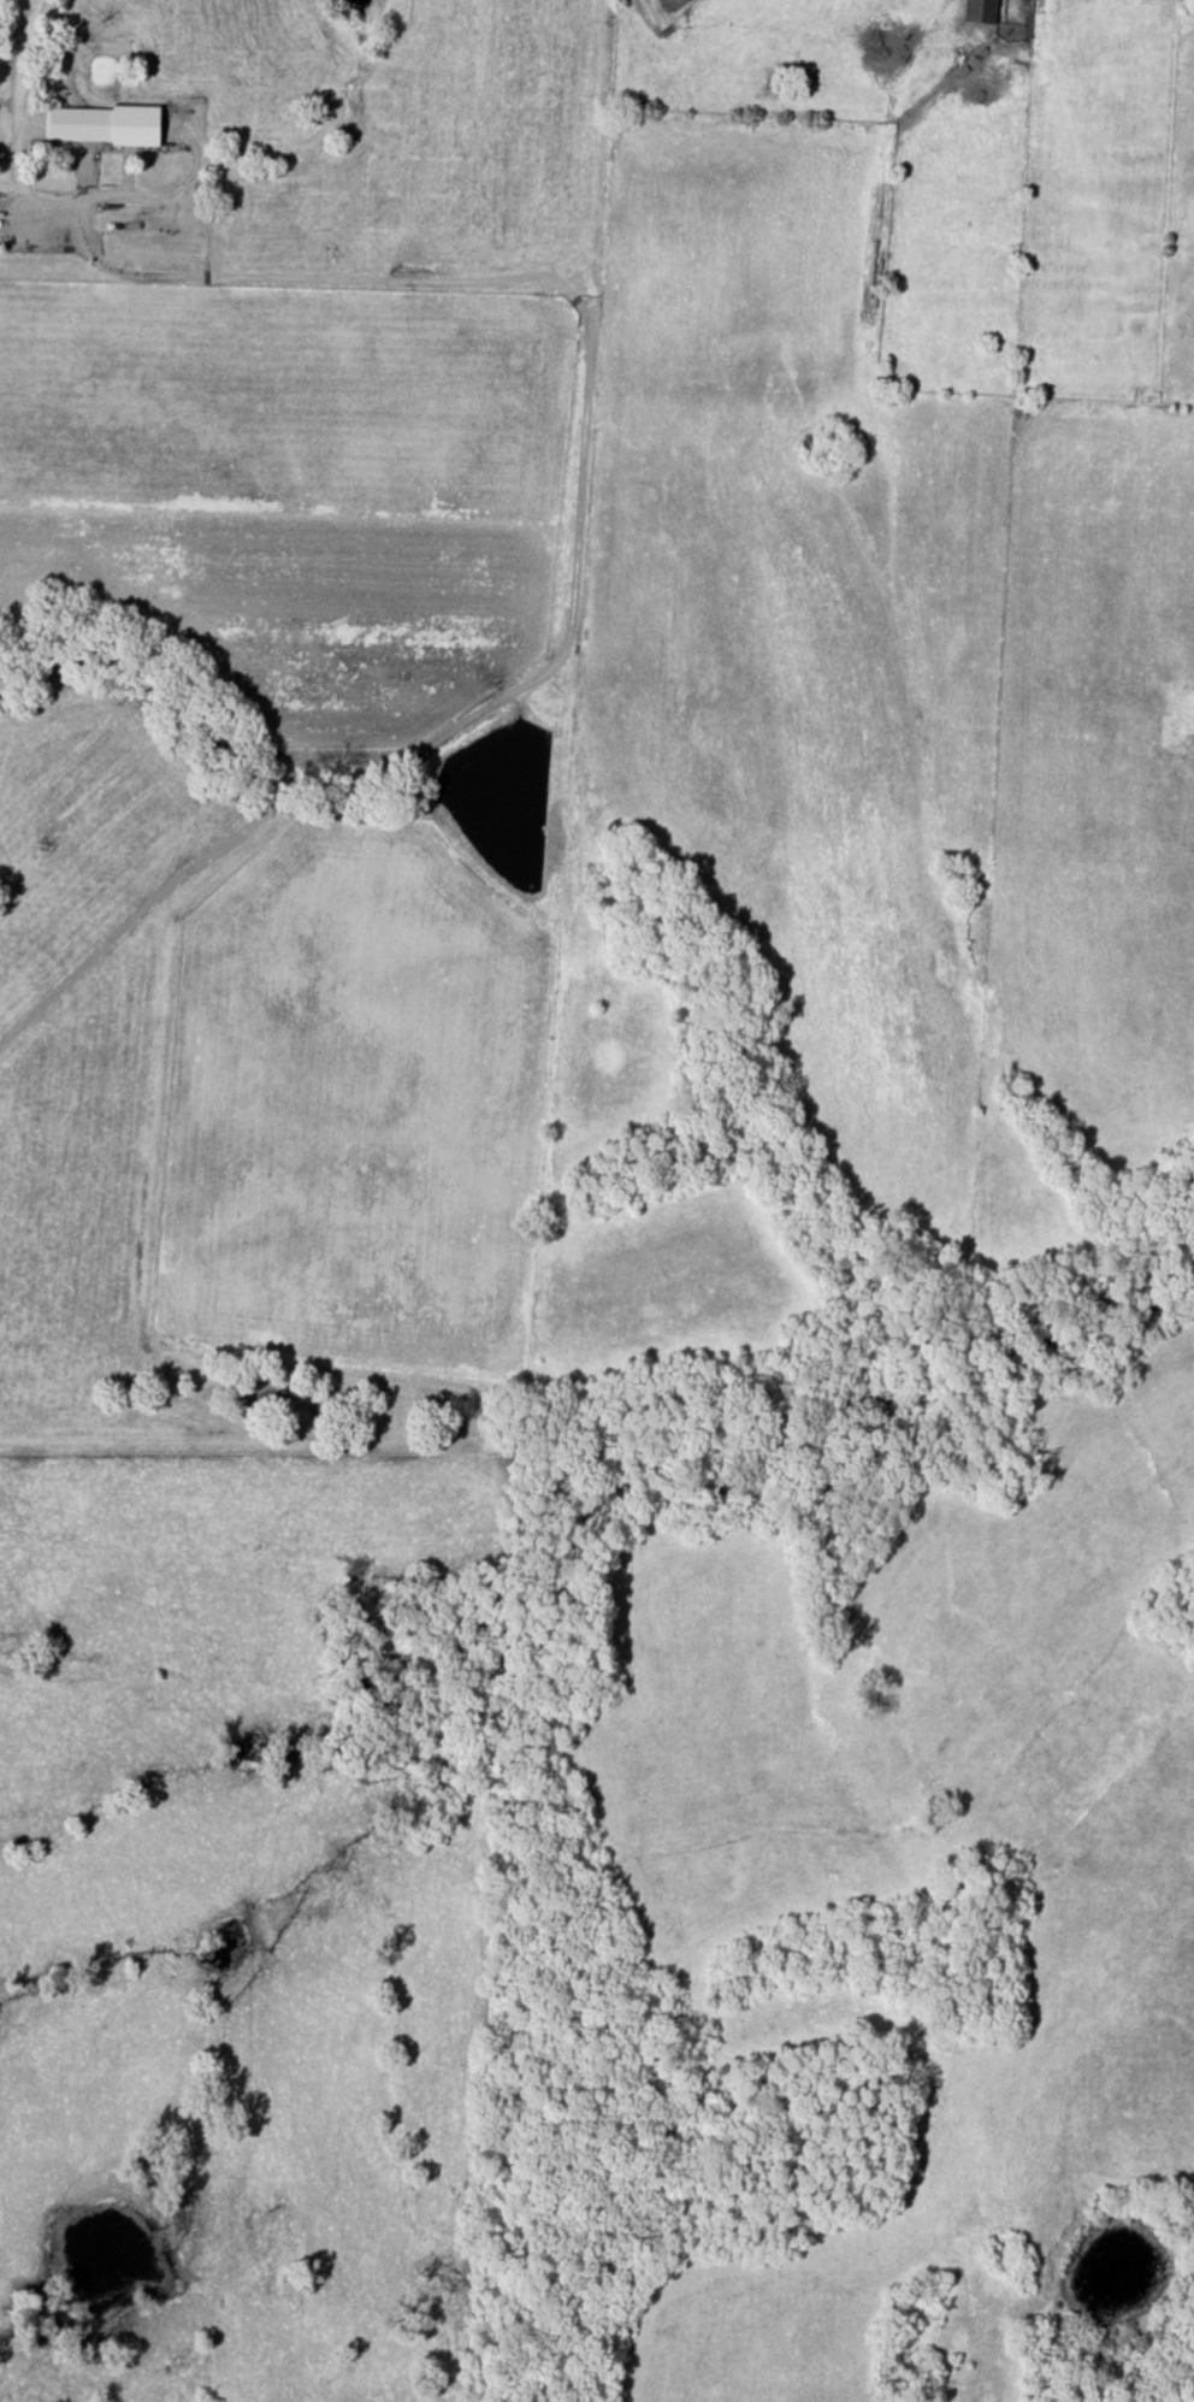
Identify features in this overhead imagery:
building: (981, 12)
building: (102, 126)
road: (17, 130)

